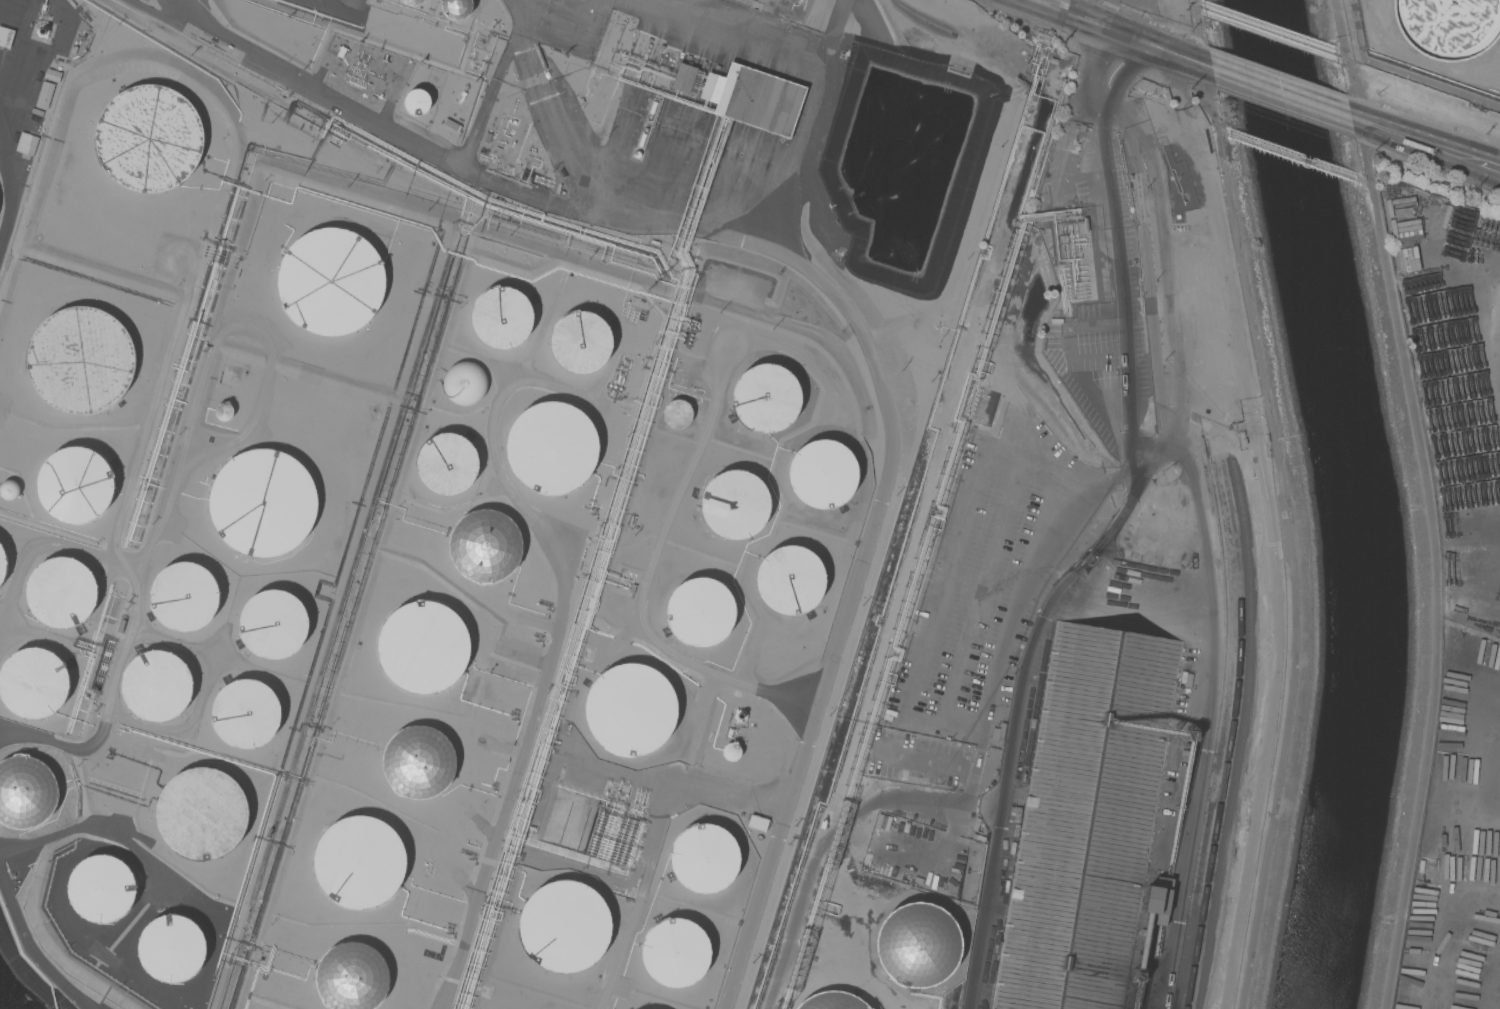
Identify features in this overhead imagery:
building: (413, 2)
building: (457, 9)
building: (1448, 27)
road: (1117, 34)
building: (6, 36)
road: (1350, 60)
building: (52, 75)
building: (682, 78)
road: (1282, 92)
building: (44, 94)
building: (754, 98)
building: (418, 101)
road: (1356, 119)
building: (450, 125)
building: (151, 139)
road: (1417, 140)
building: (26, 144)
road: (461, 160)
road: (1486, 164)
road: (14, 185)
building: (1454, 219)
building: (331, 281)
building: (503, 317)
road: (1493, 327)
building: (581, 341)
building: (1434, 358)
building: (81, 365)
building: (464, 383)
building: (765, 397)
building: (677, 410)
building: (223, 411)
road: (889, 419)
building: (547, 449)
building: (447, 462)
building: (820, 471)
building: (75, 484)
building: (9, 489)
building: (263, 503)
building: (734, 504)
road: (1201, 513)
building: (490, 545)
road: (1108, 551)
road: (1435, 563)
building: (2, 564)
building: (788, 580)
railway: (1219, 582)
building: (60, 592)
building: (183, 596)
building: (701, 611)
building: (273, 621)
building: (424, 643)
road: (212, 655)
building: (1477, 660)
building: (33, 683)
building: (156, 684)
building: (634, 710)
building: (247, 713)
building: (738, 716)
road: (930, 720)
railway: (1243, 735)
railway: (1221, 736)
railway: (1231, 736)
road: (63, 745)
building: (730, 751)
road: (1012, 759)
building: (415, 762)
building: (908, 776)
building: (1435, 789)
building: (27, 793)
building: (205, 812)
building: (1014, 814)
building: (1087, 819)
building: (757, 822)
building: (882, 822)
road: (844, 824)
building: (709, 857)
building: (362, 860)
building: (102, 889)
building: (1158, 901)
building: (562, 925)
building: (917, 945)
road: (31, 949)
building: (171, 949)
building: (673, 949)
building: (349, 977)
building: (832, 1001)

